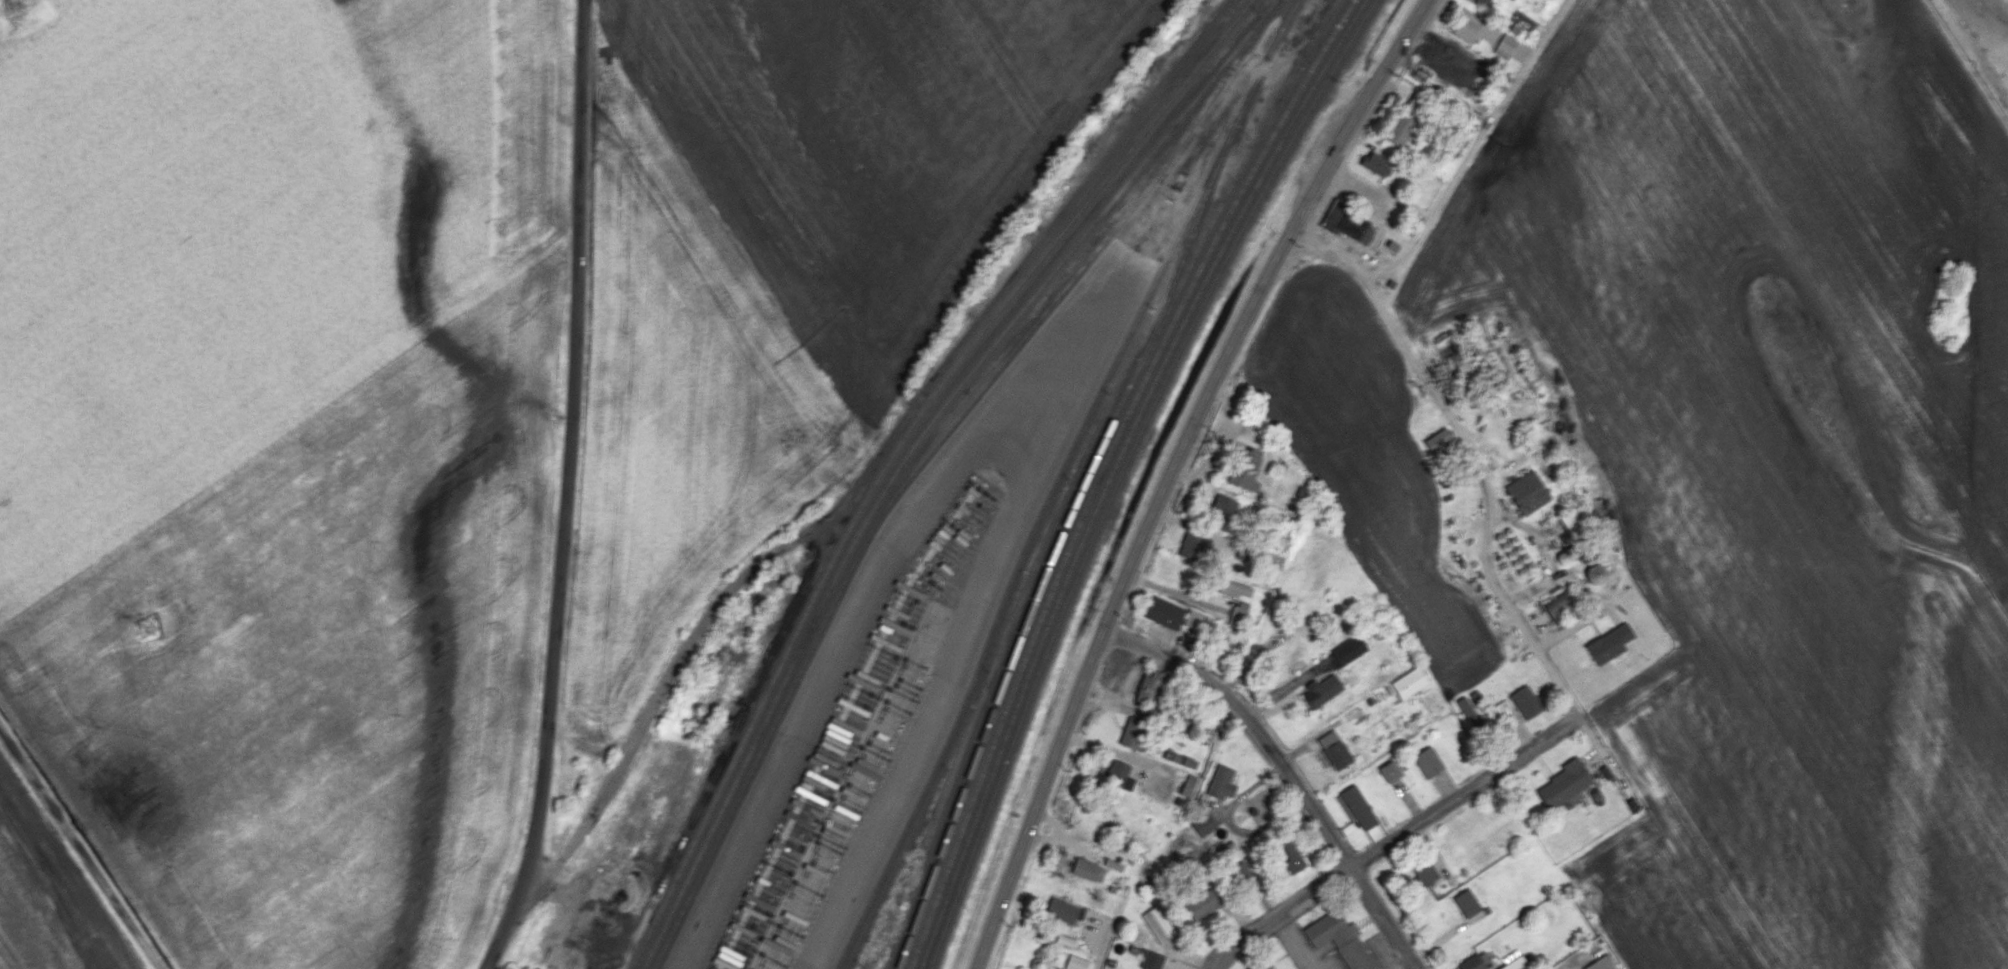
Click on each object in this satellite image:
building: (1485, 3)
power tower: (9, 6)
building: (1523, 20)
building: (1466, 29)
building: (1449, 57)
building: (1414, 104)
building: (1400, 131)
road: (1472, 146)
building: (1376, 163)
building: (1352, 225)
railway: (1190, 237)
crop: (769, 281)
building: (1467, 368)
road: (977, 440)
building: (1440, 442)
road: (1474, 452)
crop: (282, 453)
railway: (893, 453)
railway: (922, 457)
railway: (905, 458)
crop: (1370, 459)
crop: (1773, 459)
road: (1171, 469)
railway: (1113, 470)
railway: (1123, 470)
railway: (1089, 471)
railway: (1102, 471)
building: (1246, 471)
railway: (1057, 479)
road: (569, 489)
building: (1527, 492)
building: (1221, 512)
building: (1574, 519)
building: (1223, 543)
building: (1191, 546)
building: (1596, 574)
building: (1234, 588)
building: (1562, 601)
building: (1165, 612)
building: (1237, 615)
building: (1198, 621)
power tower: (145, 632)
building: (1609, 643)
building: (1349, 650)
building: (1409, 682)
road: (1286, 685)
building: (1149, 688)
building: (1322, 690)
building: (1526, 701)
building: (1502, 707)
building: (1469, 712)
building: (1134, 733)
building: (1334, 749)
building: (1183, 760)
building: (1428, 761)
road: (1285, 771)
building: (1390, 771)
building: (1119, 774)
building: (1222, 782)
building: (1564, 783)
building: (1188, 785)
building: (1362, 812)
building: (1204, 825)
road: (1392, 839)
road: (81, 846)
building: (1292, 857)
building: (1088, 870)
building: (1240, 871)
building: (1425, 872)
crop: (48, 895)
building: (1467, 903)
building: (1201, 904)
building: (1063, 910)
building: (1158, 923)
building: (1341, 939)
road: (1294, 943)
building: (1152, 960)
building: (1476, 961)
building: (1076, 962)
road: (1400, 962)
building: (1515, 963)
building: (1601, 963)
building: (1261, 966)
road: (1563, 966)

